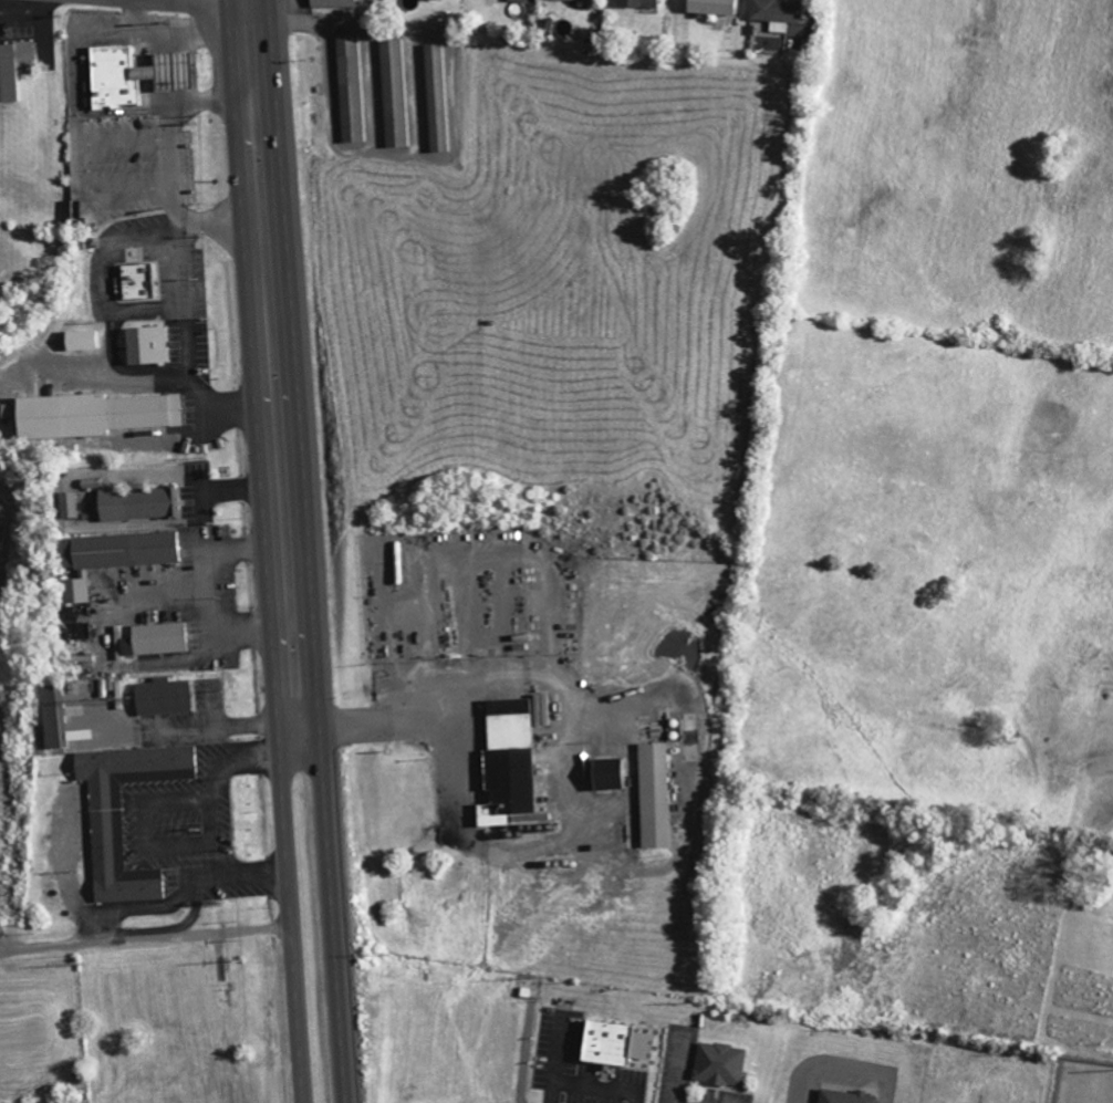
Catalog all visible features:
building: (439, 0)
building: (523, 0)
building: (590, 0)
road: (195, 2)
building: (340, 2)
building: (647, 3)
building: (719, 7)
road: (251, 9)
building: (784, 13)
road: (43, 23)
road: (170, 38)
road: (158, 50)
building: (17, 70)
road: (159, 72)
building: (141, 76)
road: (73, 82)
building: (355, 87)
building: (398, 93)
road: (162, 94)
road: (126, 142)
road: (176, 160)
road: (133, 191)
building: (145, 281)
building: (91, 340)
building: (152, 345)
building: (102, 415)
building: (145, 503)
building: (77, 506)
road: (267, 551)
road: (312, 551)
building: (121, 556)
building: (167, 638)
building: (169, 697)
building: (60, 717)
road: (412, 725)
building: (516, 762)
building: (615, 774)
building: (660, 795)
building: (718, 1063)
power substation: (1082, 1081)
building: (843, 1096)

